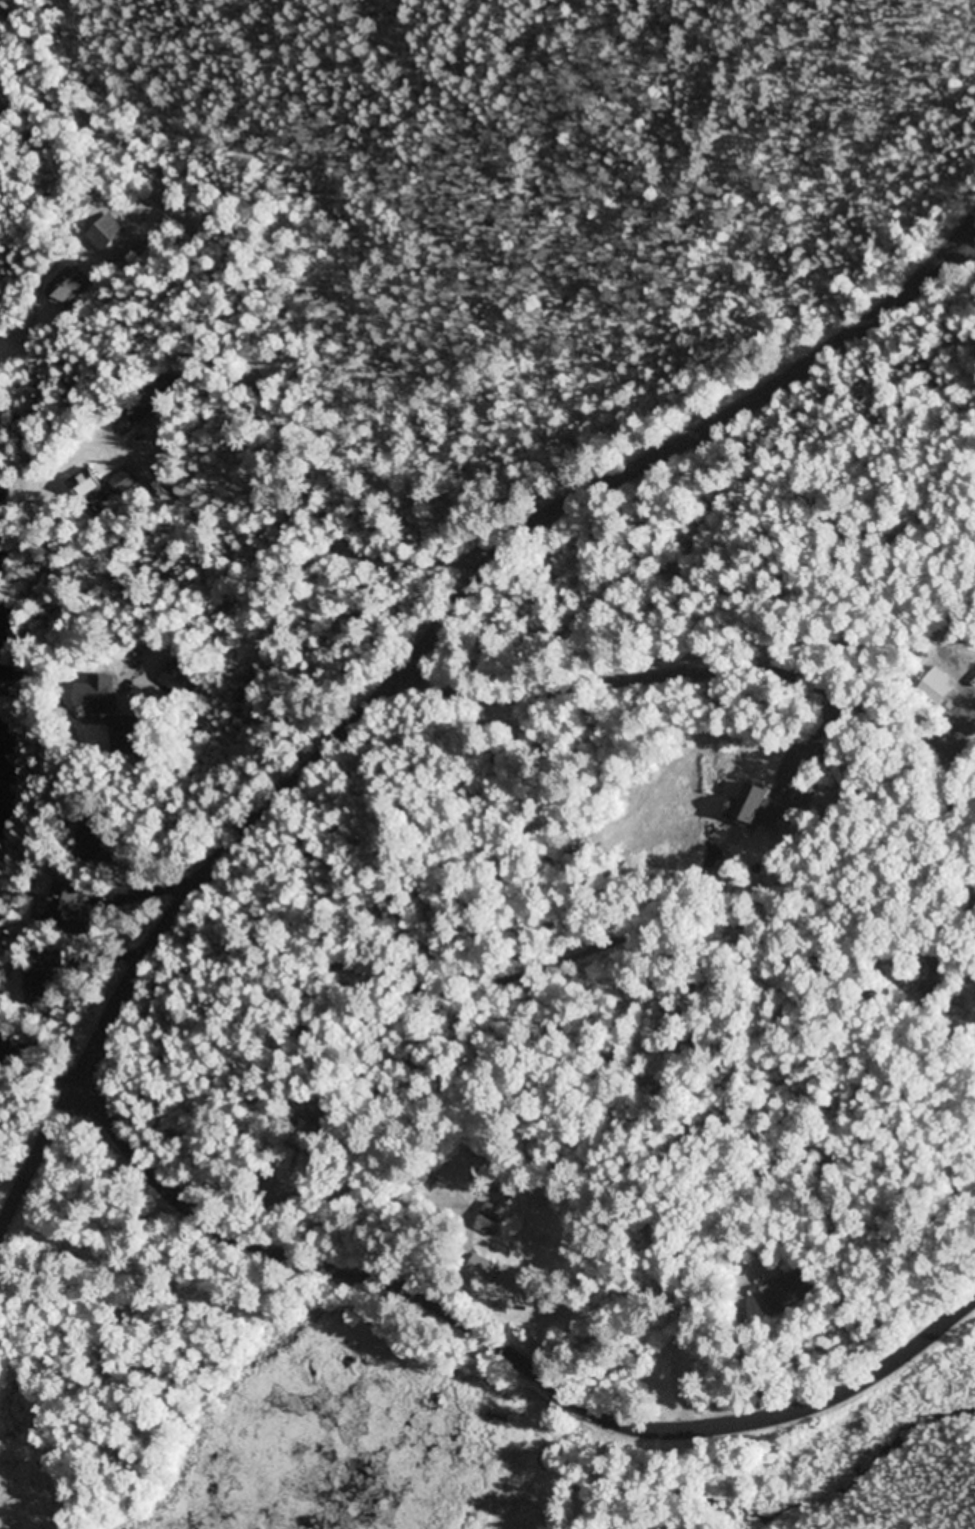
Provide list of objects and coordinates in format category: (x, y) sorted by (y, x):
road: (974, 224)
building: (106, 233)
building: (68, 285)
road: (233, 321)
building: (167, 390)
building: (141, 409)
building: (126, 483)
building: (88, 485)
road: (414, 658)
road: (694, 672)
building: (180, 675)
building: (935, 687)
building: (104, 701)
road: (815, 744)
road: (961, 746)
road: (961, 802)
building: (758, 810)
building: (90, 839)
building: (68, 905)
road: (559, 963)
building: (41, 989)
building: (2, 1042)
building: (491, 1220)
building: (488, 1268)
building: (784, 1294)
building: (505, 1306)
road: (505, 1356)

